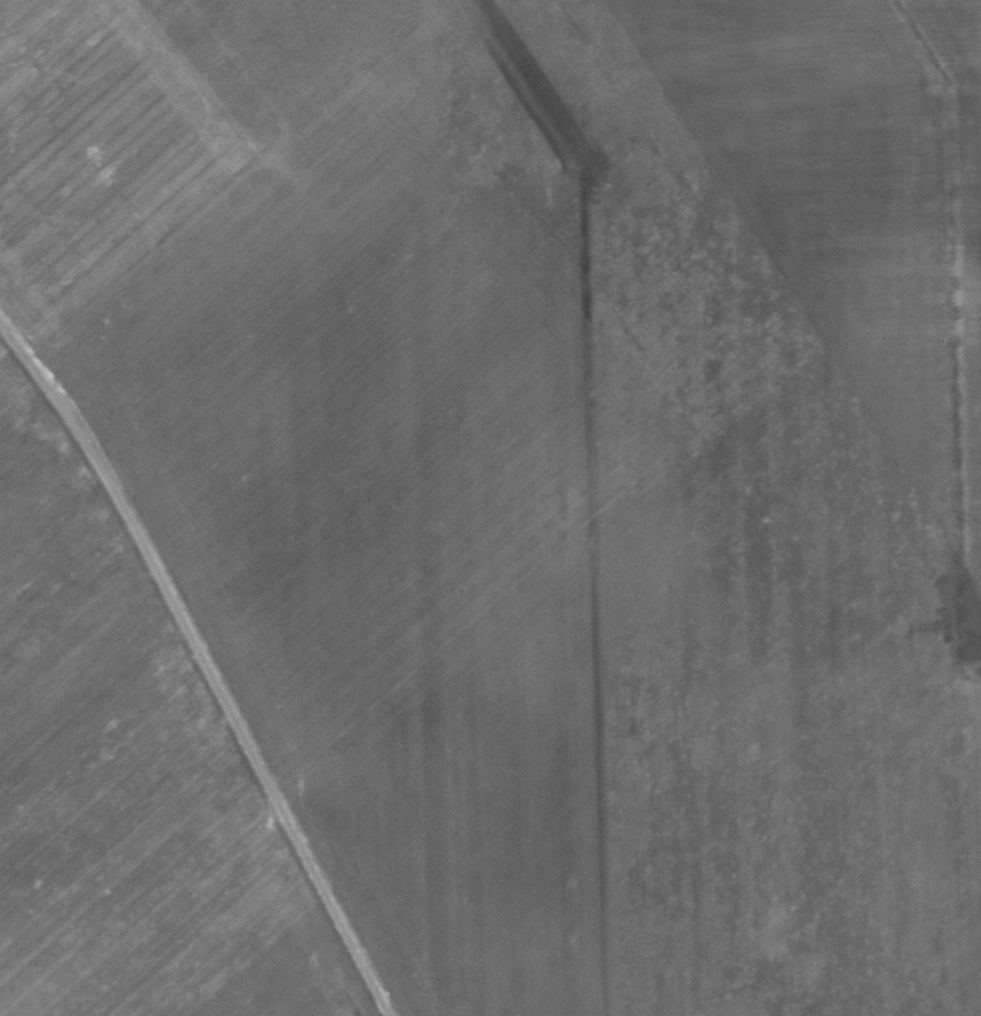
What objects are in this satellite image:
road: (190, 636)

